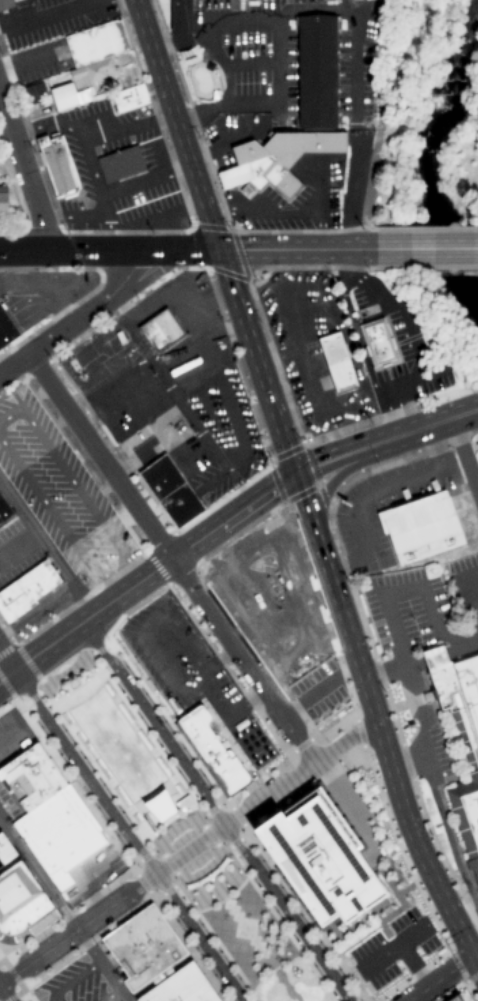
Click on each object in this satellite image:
building: (5, 4)
building: (181, 24)
building: (97, 43)
building: (93, 72)
building: (317, 72)
building: (33, 92)
building: (68, 96)
building: (129, 97)
road: (176, 125)
building: (276, 160)
building: (120, 164)
river: (407, 165)
building: (57, 166)
road: (24, 180)
building: (3, 199)
road: (427, 248)
road: (188, 250)
traffic signals: (219, 250)
road: (76, 318)
building: (6, 329)
building: (160, 331)
building: (377, 342)
building: (336, 362)
road: (267, 395)
road: (428, 425)
road: (463, 453)
road: (98, 457)
traffic signals: (294, 475)
building: (160, 477)
road: (330, 482)
road: (477, 489)
road: (372, 494)
building: (180, 505)
building: (5, 512)
building: (420, 527)
road: (183, 550)
road: (346, 563)
building: (254, 578)
road: (286, 579)
building: (26, 590)
street lamp: (164, 590)
road: (471, 596)
parking lot: (271, 599)
road: (393, 625)
road: (137, 631)
road: (238, 631)
street lamp: (107, 641)
street lamp: (370, 651)
road: (217, 659)
road: (6, 661)
road: (242, 661)
street lamp: (341, 662)
street lamp: (87, 669)
street lamp: (233, 669)
street lamp: (127, 670)
street lamp: (106, 671)
parking lot: (191, 674)
road: (385, 674)
street lamp: (66, 676)
street lamp: (55, 689)
parking lot: (318, 690)
road: (317, 691)
street lamp: (122, 693)
street lamp: (147, 698)
road: (218, 699)
street lamp: (20, 701)
road: (246, 702)
street lamp: (356, 708)
street lamp: (50, 710)
road: (289, 710)
street lamp: (142, 721)
street lamp: (166, 725)
street lamp: (41, 730)
street lamp: (395, 732)
street lamp: (66, 733)
road: (10, 734)
building: (459, 735)
parking lot: (13, 736)
road: (245, 736)
street lamp: (326, 742)
street lamp: (160, 747)
building: (212, 750)
street lamp: (185, 752)
street lamp: (61, 758)
road: (387, 759)
street lamp: (86, 761)
road: (407, 763)
street lamp: (338, 764)
street lamp: (284, 766)
street lamp: (345, 771)
street lamp: (179, 775)
building: (31, 777)
street lamp: (204, 780)
street lamp: (256, 784)
street lamp: (105, 788)
street lamp: (84, 791)
street lamp: (381, 791)
street lamp: (195, 798)
parking lot: (10, 803)
building: (185, 803)
building: (160, 806)
street lamp: (223, 807)
street lamp: (235, 807)
street lamp: (187, 811)
street lamp: (419, 811)
street lamp: (99, 812)
road: (213, 812)
street lamp: (123, 815)
parking lot: (356, 816)
street lamp: (171, 819)
street lamp: (205, 821)
street lamp: (163, 826)
parking lot: (0, 831)
park: (177, 832)
street lamp: (241, 833)
building: (61, 835)
road: (129, 835)
street lamp: (118, 839)
street lamp: (431, 842)
road: (185, 844)
street lamp: (223, 846)
road: (186, 852)
street lamp: (157, 855)
street lamp: (404, 855)
building: (320, 859)
street lamp: (240, 861)
building: (222, 863)
street lamp: (263, 864)
street lamp: (138, 868)
building: (213, 872)
street lamp: (238, 872)
street lamp: (447, 872)
parking lot: (89, 879)
street lamp: (175, 880)
building: (203, 880)
street lamp: (226, 885)
building: (190, 886)
street lamp: (419, 886)
street lamp: (259, 888)
street lamp: (281, 890)
street lamp: (156, 894)
building: (20, 896)
street lamp: (211, 897)
street lamp: (183, 901)
street lamp: (193, 904)
road: (63, 910)
street lamp: (277, 915)
street lamp: (435, 917)
street lamp: (301, 918)
street lamp: (179, 927)
street lamp: (201, 927)
fountain: (244, 929)
road: (470, 935)
street lamp: (297, 942)
street lamp: (320, 945)
road: (391, 949)
parking lot: (393, 949)
street lamp: (197, 952)
road: (475, 953)
street lamp: (219, 954)
road: (0, 956)
traffic signals: (472, 956)
street lamp: (61, 960)
building: (155, 960)
road: (413, 965)
street lamp: (433, 965)
street lamp: (315, 969)
street lamp: (339, 973)
road: (439, 978)
street lamp: (33, 979)
road: (69, 979)
street lamp: (217, 980)
street lamp: (239, 982)
street lamp: (277, 983)
parking lot: (74, 984)
street lamp: (292, 988)
street lamp: (283, 989)
street lamp: (396, 991)
road: (4, 994)
street lamp: (298, 994)
road: (110, 995)
street lamp: (334, 995)
road: (26, 996)
building: (454, 998)
parking garage: (454, 998)
street lamp: (288, 999)

